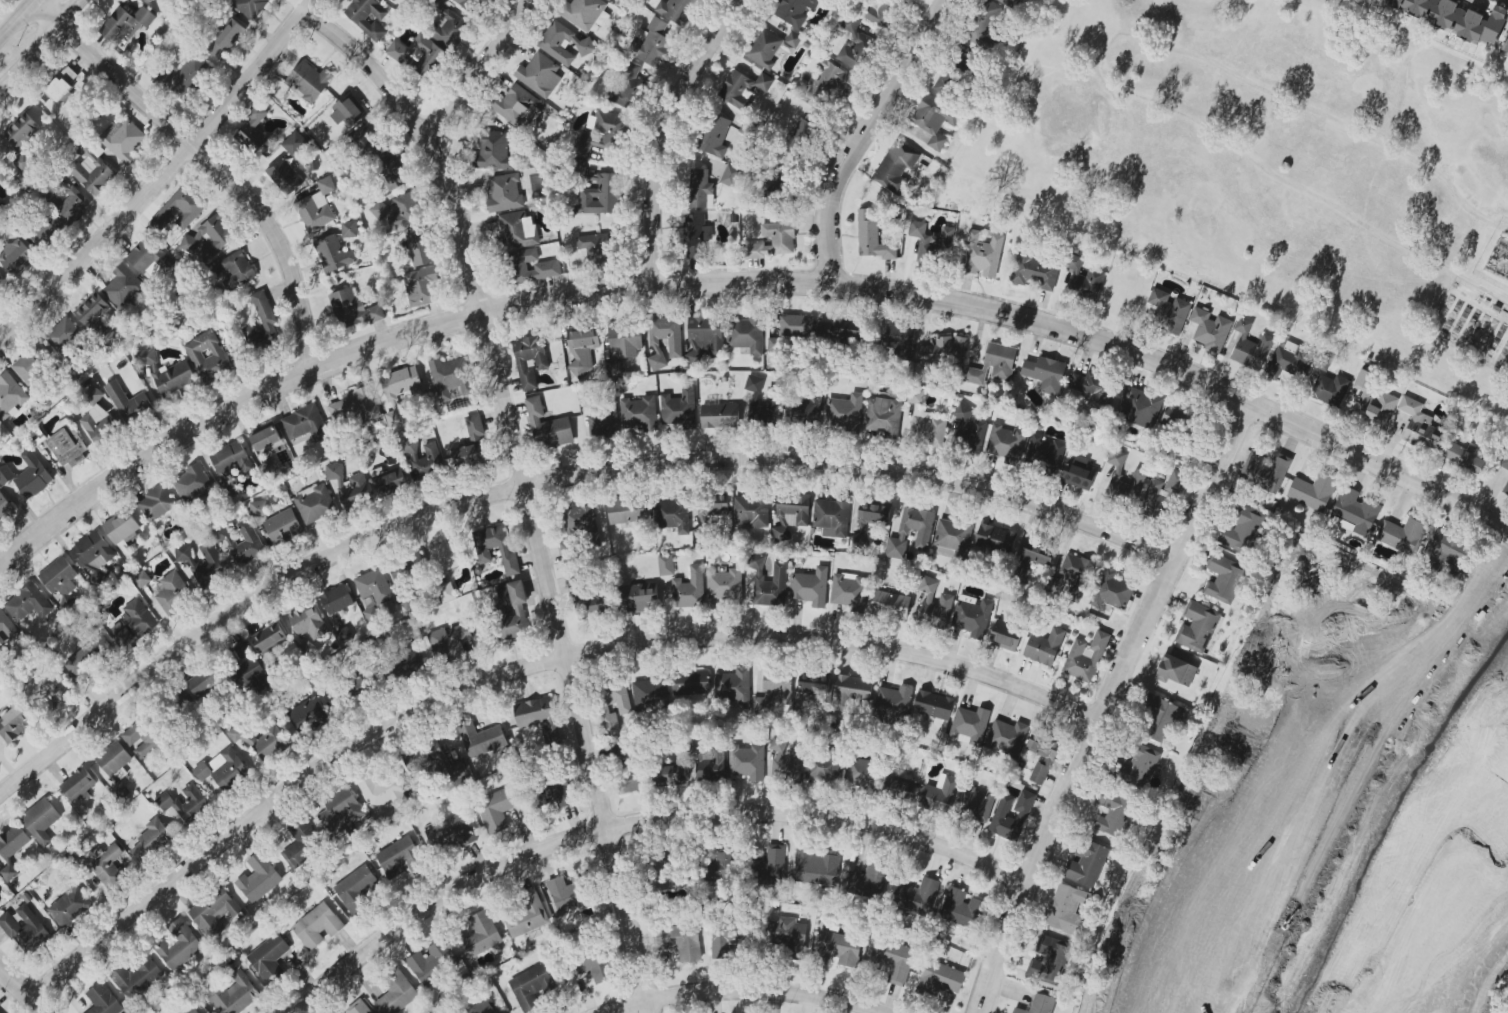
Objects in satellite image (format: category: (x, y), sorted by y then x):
building: (149, 0)
building: (393, 0)
building: (1005, 1)
building: (470, 5)
building: (676, 10)
building: (795, 11)
building: (880, 11)
building: (586, 13)
building: (367, 17)
road: (17, 18)
building: (1455, 18)
building: (126, 23)
building: (987, 24)
building: (449, 29)
building: (227, 39)
building: (579, 42)
building: (791, 42)
road: (39, 43)
building: (651, 43)
building: (854, 46)
building: (1505, 46)
building: (764, 48)
building: (398, 51)
building: (427, 55)
road: (481, 68)
road: (1094, 68)
building: (539, 75)
building: (188, 77)
building: (830, 81)
building: (309, 82)
building: (948, 83)
building: (61, 84)
building: (627, 86)
building: (744, 88)
building: (517, 107)
building: (347, 111)
building: (935, 120)
building: (254, 129)
building: (600, 133)
road: (669, 134)
road: (860, 134)
building: (715, 136)
building: (799, 137)
building: (22, 140)
building: (123, 140)
building: (295, 143)
building: (368, 143)
building: (494, 150)
road: (209, 163)
building: (895, 167)
park: (1285, 168)
building: (94, 173)
road: (160, 173)
building: (391, 174)
building: (2, 176)
building: (284, 176)
building: (730, 176)
building: (701, 189)
building: (506, 192)
building: (601, 195)
building: (73, 206)
building: (317, 207)
building: (407, 208)
building: (180, 209)
building: (379, 210)
building: (349, 229)
building: (518, 230)
building: (47, 232)
building: (696, 235)
building: (872, 236)
building: (208, 239)
building: (773, 241)
building: (931, 241)
building: (421, 246)
building: (595, 248)
building: (333, 254)
building: (982, 255)
building: (16, 256)
building: (149, 258)
building: (533, 266)
building: (236, 269)
building: (1034, 272)
building: (1083, 279)
building: (2, 282)
road: (742, 285)
building: (123, 287)
building: (422, 287)
building: (91, 309)
building: (353, 309)
building: (1167, 311)
building: (262, 324)
building: (1210, 329)
building: (792, 330)
building: (748, 334)
building: (847, 334)
building: (64, 335)
building: (705, 338)
building: (901, 340)
building: (674, 344)
building: (623, 347)
building: (1250, 347)
building: (582, 349)
building: (944, 351)
building: (207, 356)
building: (146, 357)
building: (1286, 359)
building: (530, 360)
building: (993, 364)
building: (30, 366)
building: (1046, 373)
building: (175, 377)
building: (450, 379)
building: (401, 389)
building: (1092, 389)
building: (1331, 390)
building: (94, 393)
building: (10, 396)
building: (128, 401)
building: (1373, 401)
building: (763, 402)
building: (356, 405)
building: (1140, 408)
building: (679, 409)
building: (804, 411)
building: (844, 412)
building: (639, 413)
building: (720, 416)
building: (1178, 416)
building: (884, 417)
building: (305, 423)
building: (98, 424)
building: (603, 425)
building: (1420, 425)
building: (548, 426)
building: (970, 428)
building: (928, 429)
building: (268, 440)
building: (1005, 442)
building: (471, 445)
building: (66, 446)
building: (1045, 453)
building: (231, 458)
building: (1464, 458)
building: (427, 461)
building: (1504, 461)
building: (1079, 474)
building: (1271, 474)
building: (6, 476)
building: (33, 476)
building: (1124, 478)
building: (388, 480)
building: (191, 482)
road: (549, 483)
road: (525, 485)
building: (350, 486)
building: (1506, 488)
building: (1313, 491)
building: (1161, 495)
building: (157, 503)
building: (314, 503)
building: (5, 508)
building: (259, 509)
building: (624, 511)
building: (751, 512)
building: (1354, 512)
building: (791, 514)
building: (672, 515)
building: (832, 517)
building: (869, 520)
building: (283, 526)
building: (122, 528)
building: (1242, 529)
building: (923, 534)
building: (1403, 535)
building: (990, 536)
building: (952, 538)
building: (242, 542)
building: (1447, 549)
building: (483, 550)
building: (93, 552)
building: (569, 552)
building: (450, 555)
building: (187, 563)
building: (666, 565)
building: (404, 571)
building: (59, 576)
building: (1073, 577)
building: (1223, 578)
building: (142, 579)
building: (769, 583)
building: (725, 584)
building: (810, 587)
road: (1480, 588)
building: (689, 589)
building: (1112, 590)
building: (502, 591)
building: (848, 591)
building: (173, 592)
building: (373, 592)
building: (446, 593)
building: (638, 598)
building: (336, 599)
building: (946, 599)
building: (28, 603)
building: (890, 605)
building: (514, 613)
building: (972, 616)
building: (308, 622)
building: (133, 623)
building: (1197, 627)
building: (6, 628)
building: (269, 638)
building: (1003, 639)
building: (449, 640)
road: (1480, 644)
building: (1044, 646)
river: (1488, 653)
building: (88, 655)
building: (1086, 656)
building: (409, 664)
building: (247, 669)
road: (525, 669)
building: (1176, 670)
building: (204, 681)
building: (363, 681)
building: (690, 683)
building: (814, 685)
building: (733, 687)
building: (851, 689)
building: (46, 690)
building: (774, 691)
building: (650, 694)
building: (892, 703)
road: (1108, 703)
building: (934, 705)
building: (624, 706)
building: (308, 711)
building: (538, 716)
building: (1159, 717)
building: (15, 723)
building: (969, 725)
building: (143, 737)
building: (1007, 738)
building: (482, 739)
building: (260, 740)
building: (1042, 756)
building: (114, 760)
building: (418, 761)
building: (747, 763)
building: (711, 764)
building: (788, 766)
building: (1141, 766)
building: (222, 768)
building: (823, 769)
road: (1253, 769)
building: (860, 772)
building: (671, 775)
building: (636, 779)
building: (79, 785)
building: (382, 790)
building: (900, 790)
building: (560, 792)
building: (940, 795)
building: (184, 803)
building: (977, 803)
park: (1327, 805)
building: (497, 809)
building: (341, 810)
building: (1114, 813)
building: (1012, 815)
building: (41, 821)
road: (637, 824)
building: (451, 832)
building: (152, 839)
building: (13, 842)
building: (303, 844)
building: (399, 857)
building: (1086, 863)
building: (719, 864)
building: (107, 865)
building: (772, 865)
building: (816, 867)
building: (9, 872)
building: (259, 878)
building: (868, 880)
building: (356, 890)
building: (568, 894)
building: (917, 896)
building: (69, 906)
building: (1067, 907)
building: (961, 908)
building: (214, 913)
building: (526, 915)
building: (317, 926)
building: (25, 929)
building: (788, 933)
building: (480, 935)
building: (729, 936)
building: (682, 941)
building: (179, 946)
building: (839, 949)
building: (269, 958)
road: (1470, 958)
building: (894, 959)
building: (1048, 960)
building: (432, 962)
building: (589, 965)
building: (137, 977)
building: (940, 979)
road: (28, 986)
building: (530, 987)
building: (396, 993)
road: (744, 993)
building: (233, 995)
building: (103, 1000)
building: (1039, 1005)
building: (484, 1007)
building: (359, 1008)
building: (189, 1010)

